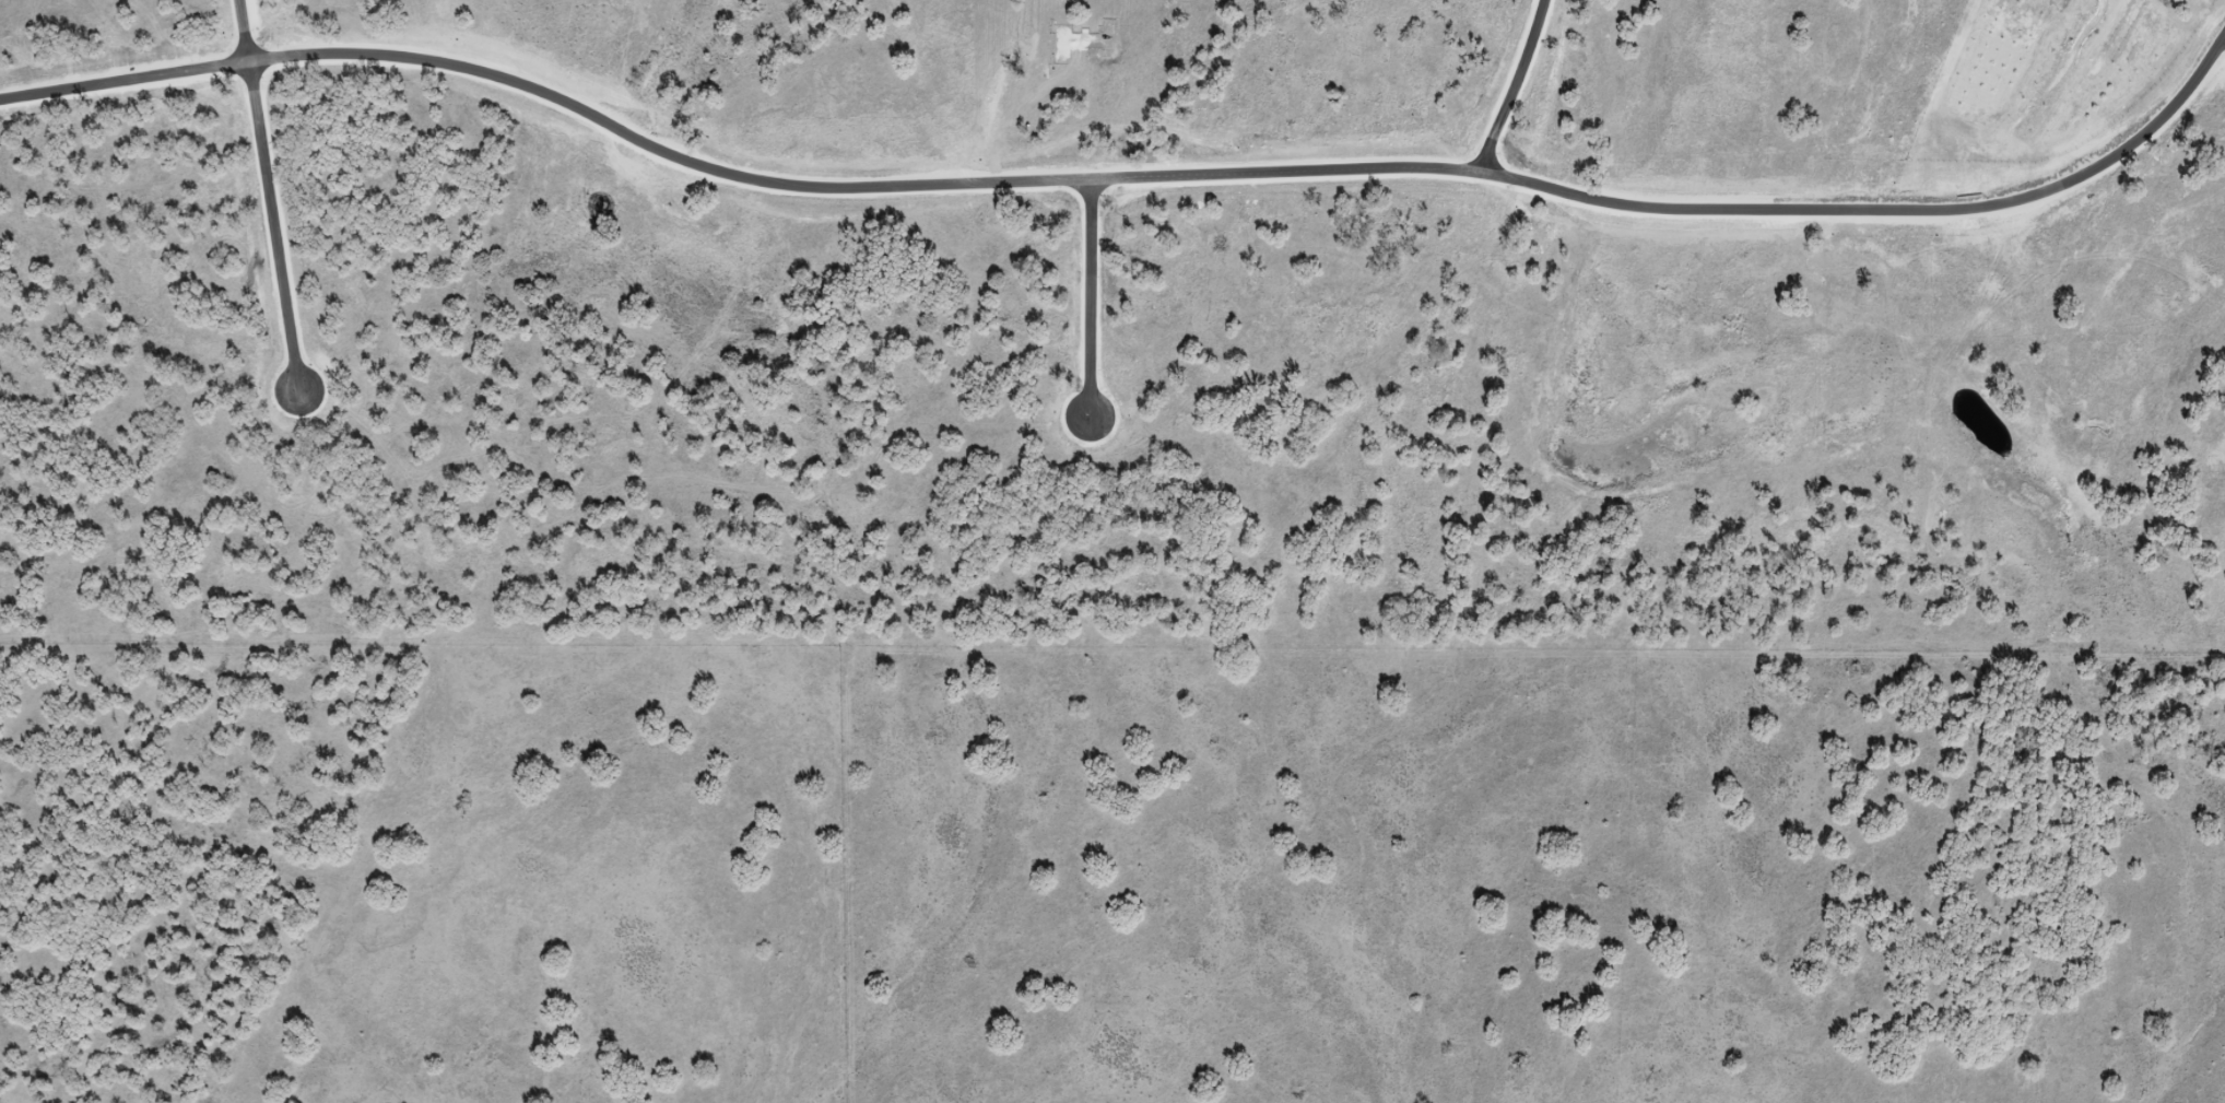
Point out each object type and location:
road: (1134, 174)
building: (1752, 525)

